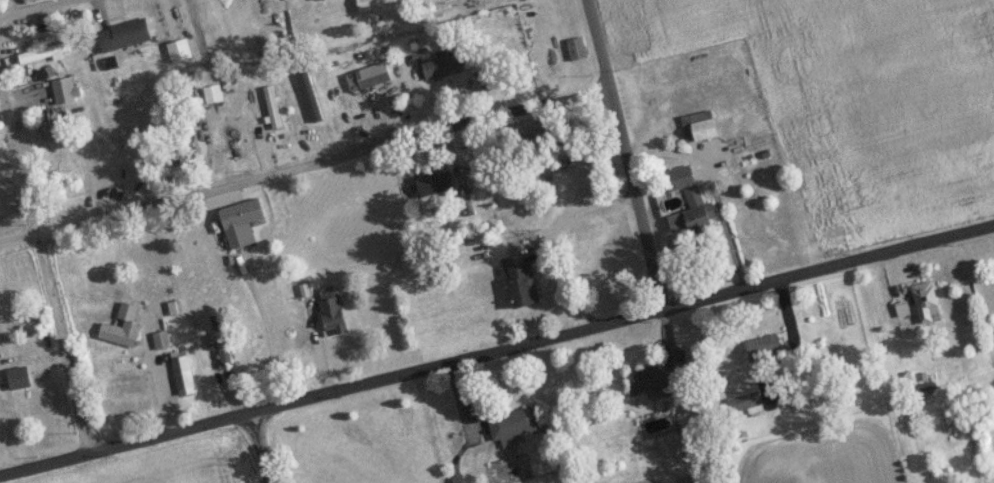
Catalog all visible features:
road: (36, 8)
crop: (853, 103)
road: (625, 155)
road: (304, 168)
road: (584, 215)
road: (47, 271)
road: (267, 336)
road: (496, 352)
road: (256, 448)
crop: (166, 462)

